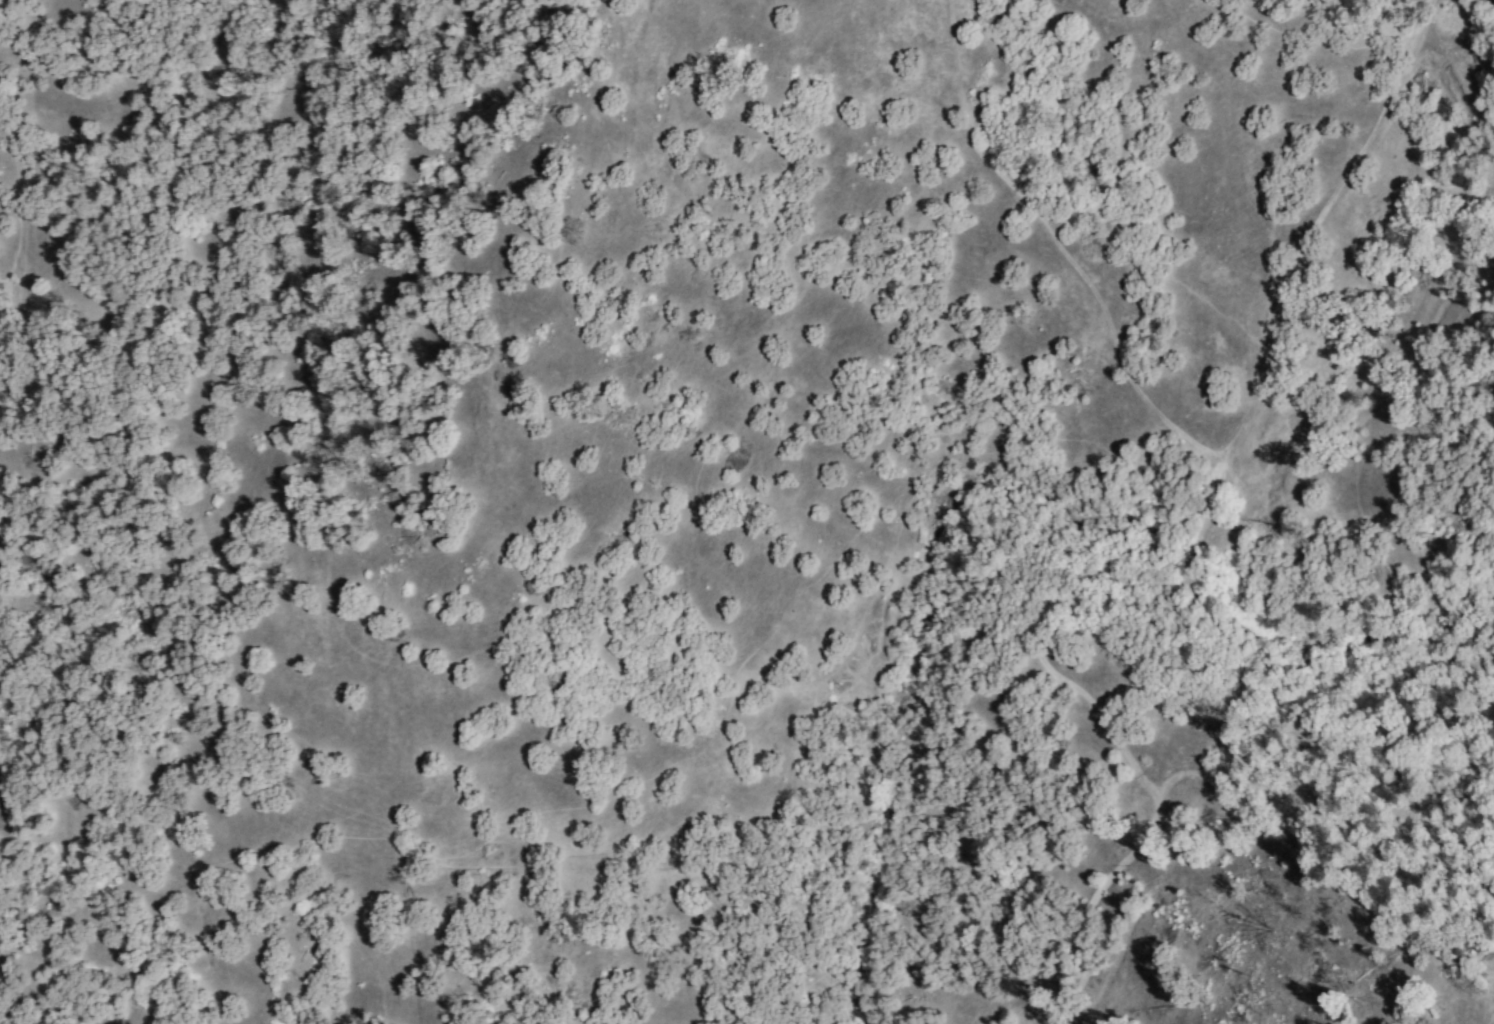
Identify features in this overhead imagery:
road: (1192, 775)

